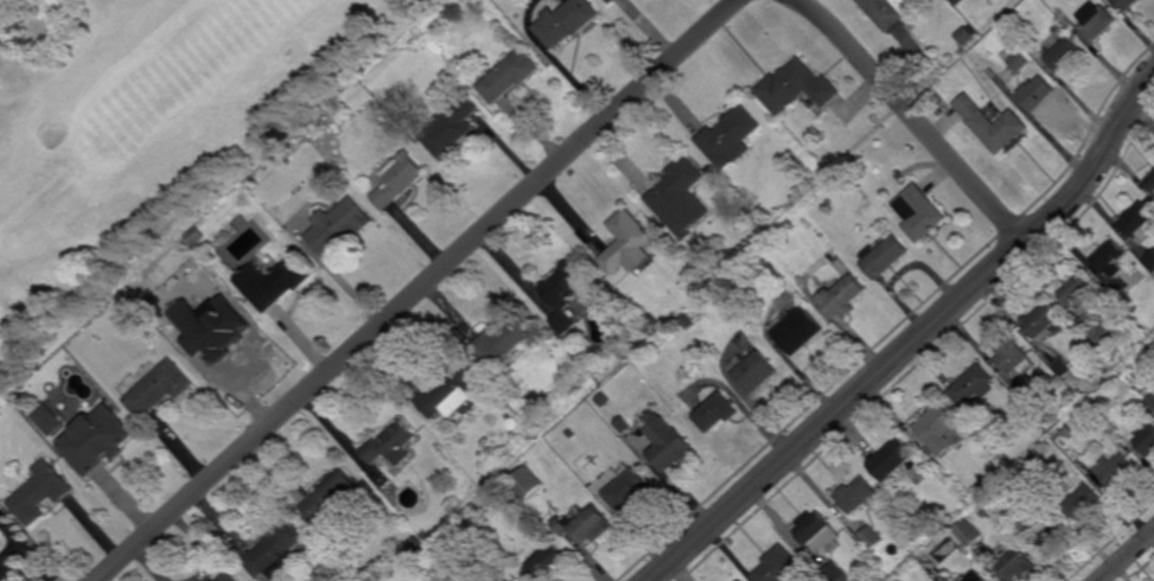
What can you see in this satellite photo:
building: (613, 0)
building: (616, 1)
building: (959, 1)
building: (1129, 4)
building: (893, 11)
building: (1097, 21)
building: (570, 23)
building: (970, 36)
building: (1065, 56)
building: (1016, 59)
building: (969, 62)
building: (514, 76)
building: (798, 88)
building: (1035, 94)
building: (939, 98)
road: (916, 117)
building: (994, 126)
building: (453, 129)
building: (732, 138)
park: (151, 139)
building: (862, 167)
building: (400, 180)
building: (1150, 183)
building: (683, 199)
building: (922, 213)
building: (767, 216)
building: (1139, 221)
building: (340, 225)
building: (196, 236)
building: (771, 243)
building: (631, 244)
building: (186, 255)
building: (887, 256)
building: (1111, 257)
building: (1150, 258)
building: (842, 268)
building: (275, 281)
building: (1077, 286)
road: (419, 290)
building: (566, 293)
building: (844, 294)
building: (1127, 296)
building: (651, 320)
building: (1043, 320)
building: (687, 321)
building: (802, 328)
building: (1099, 330)
building: (224, 334)
road: (916, 340)
building: (1142, 341)
building: (502, 343)
building: (547, 343)
building: (1013, 355)
building: (1063, 366)
building: (758, 370)
building: (973, 384)
building: (159, 388)
building: (450, 391)
building: (1027, 396)
building: (1149, 396)
building: (604, 398)
building: (1016, 406)
building: (718, 410)
building: (49, 420)
building: (0, 423)
building: (625, 423)
building: (938, 427)
building: (573, 433)
building: (1145, 436)
building: (391, 443)
building: (670, 443)
building: (107, 446)
building: (893, 459)
building: (1082, 461)
building: (1114, 468)
building: (529, 481)
building: (629, 489)
building: (43, 491)
building: (857, 493)
building: (332, 496)
building: (1083, 502)
building: (1009, 513)
building: (589, 524)
building: (0, 525)
road: (13, 526)
building: (0, 531)
building: (820, 532)
building: (967, 532)
building: (1048, 532)
building: (425, 535)
building: (871, 538)
road: (31, 550)
building: (278, 551)
road: (1124, 554)
building: (886, 562)
building: (549, 564)
building: (1015, 564)
building: (778, 566)
building: (835, 572)
building: (974, 576)
building: (229, 577)
building: (945, 579)
building: (215, 580)
building: (739, 580)
building: (740, 580)
building: (898, 580)

